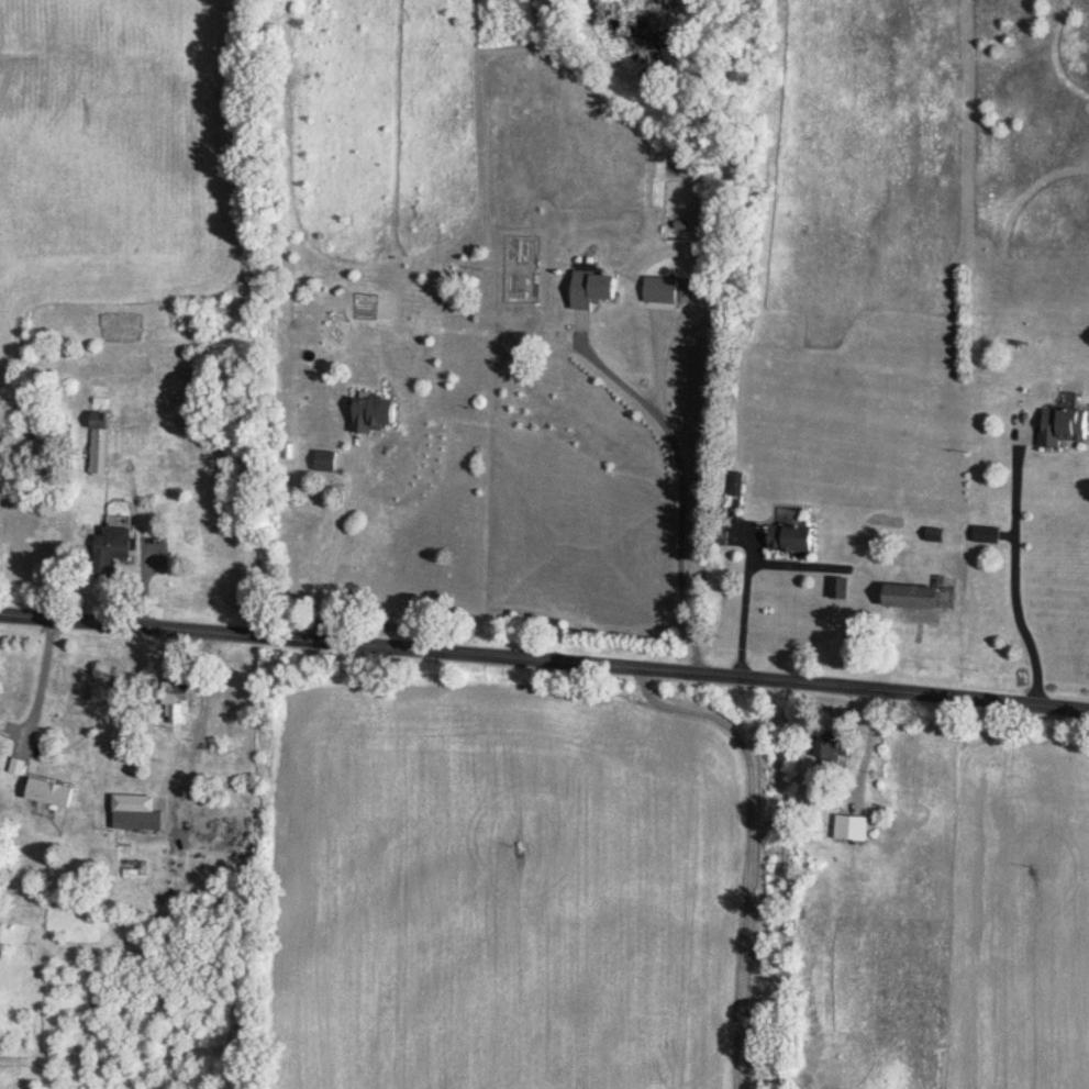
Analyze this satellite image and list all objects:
building: (596, 289)
building: (662, 290)
building: (374, 413)
building: (1063, 425)
building: (62, 432)
building: (100, 442)
building: (325, 460)
building: (735, 486)
road: (681, 491)
building: (985, 533)
building: (792, 538)
building: (112, 548)
road: (331, 552)
road: (1011, 578)
building: (840, 588)
building: (915, 596)
road: (742, 615)
road: (544, 665)
road: (44, 687)
building: (176, 702)
building: (14, 723)
building: (833, 752)
building: (857, 810)
building: (140, 812)

